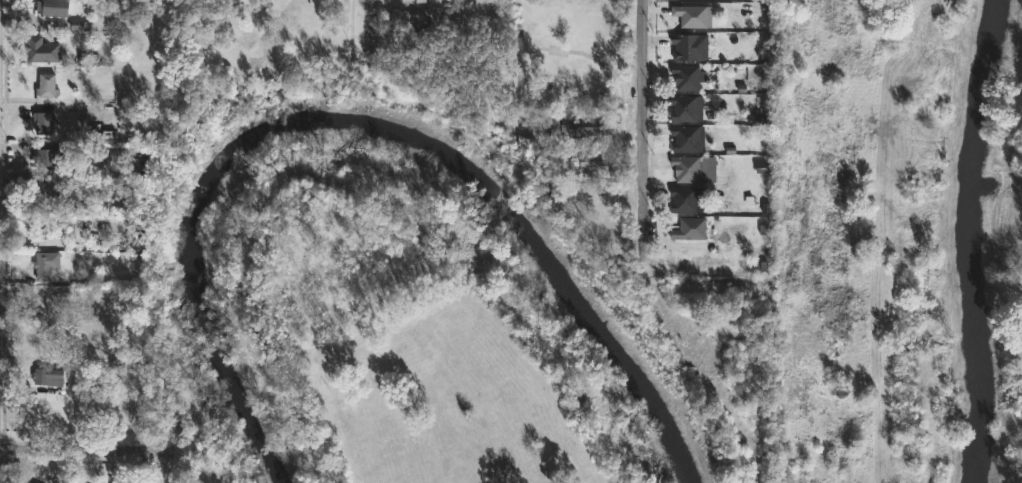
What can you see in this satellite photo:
building: (53, 7)
road: (373, 14)
building: (692, 16)
building: (419, 23)
building: (687, 46)
building: (52, 50)
building: (684, 76)
building: (47, 88)
building: (685, 108)
building: (44, 122)
building: (580, 125)
road: (640, 134)
building: (687, 138)
building: (48, 156)
building: (588, 160)
building: (695, 168)
building: (74, 174)
building: (50, 191)
building: (687, 199)
building: (688, 228)
building: (47, 264)
building: (49, 377)
road: (86, 450)

